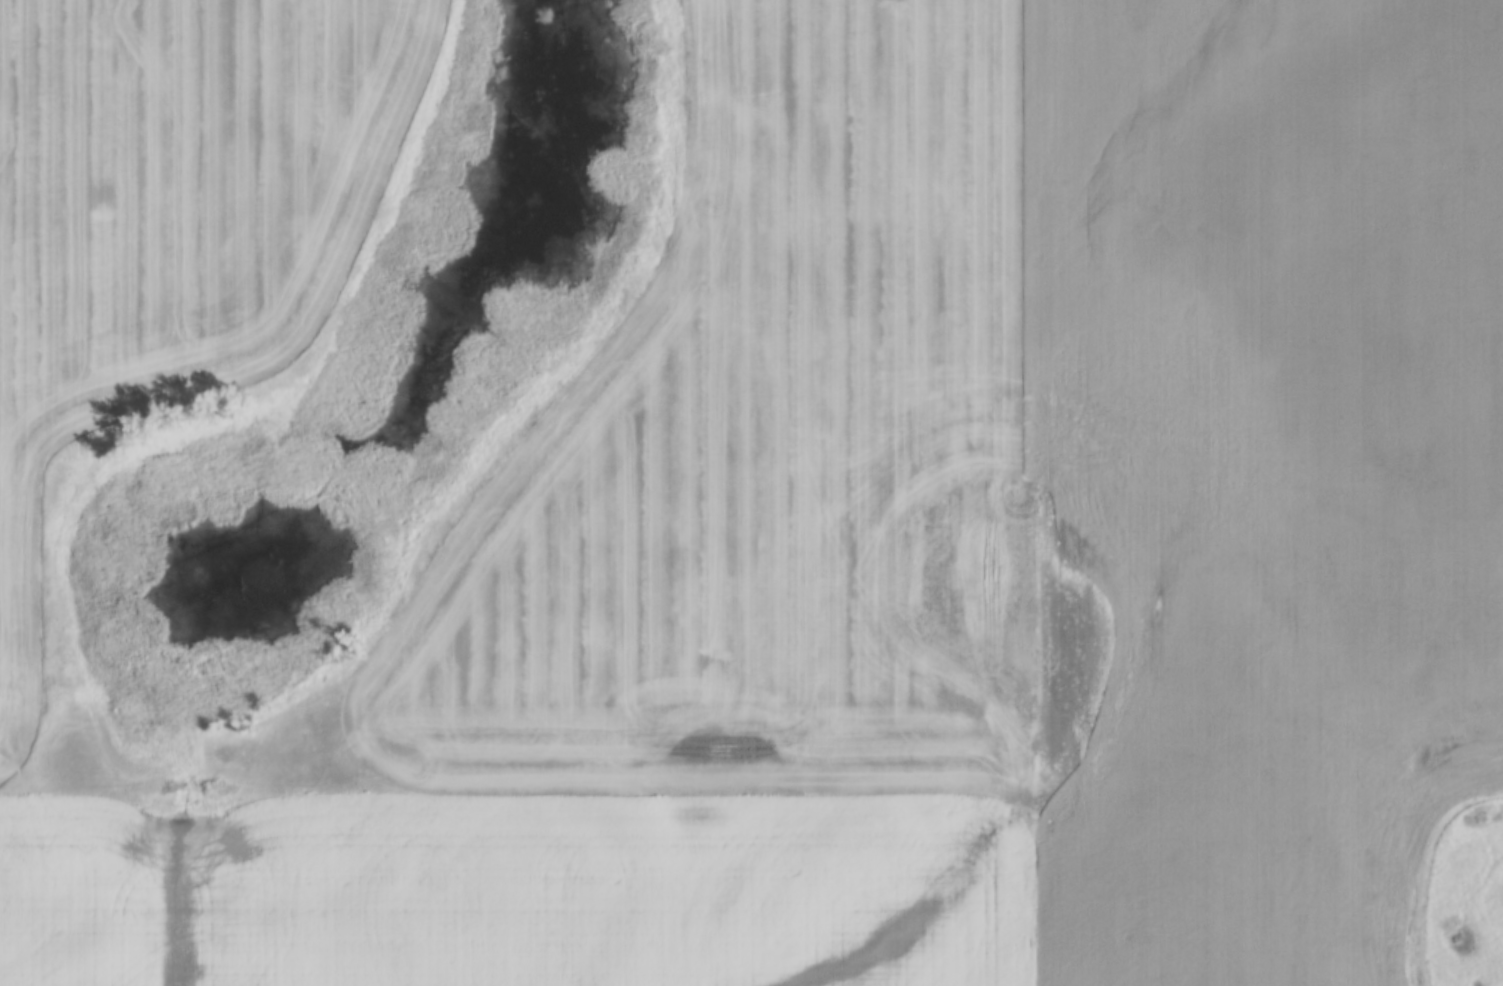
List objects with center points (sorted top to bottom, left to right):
road: (1025, 493)

